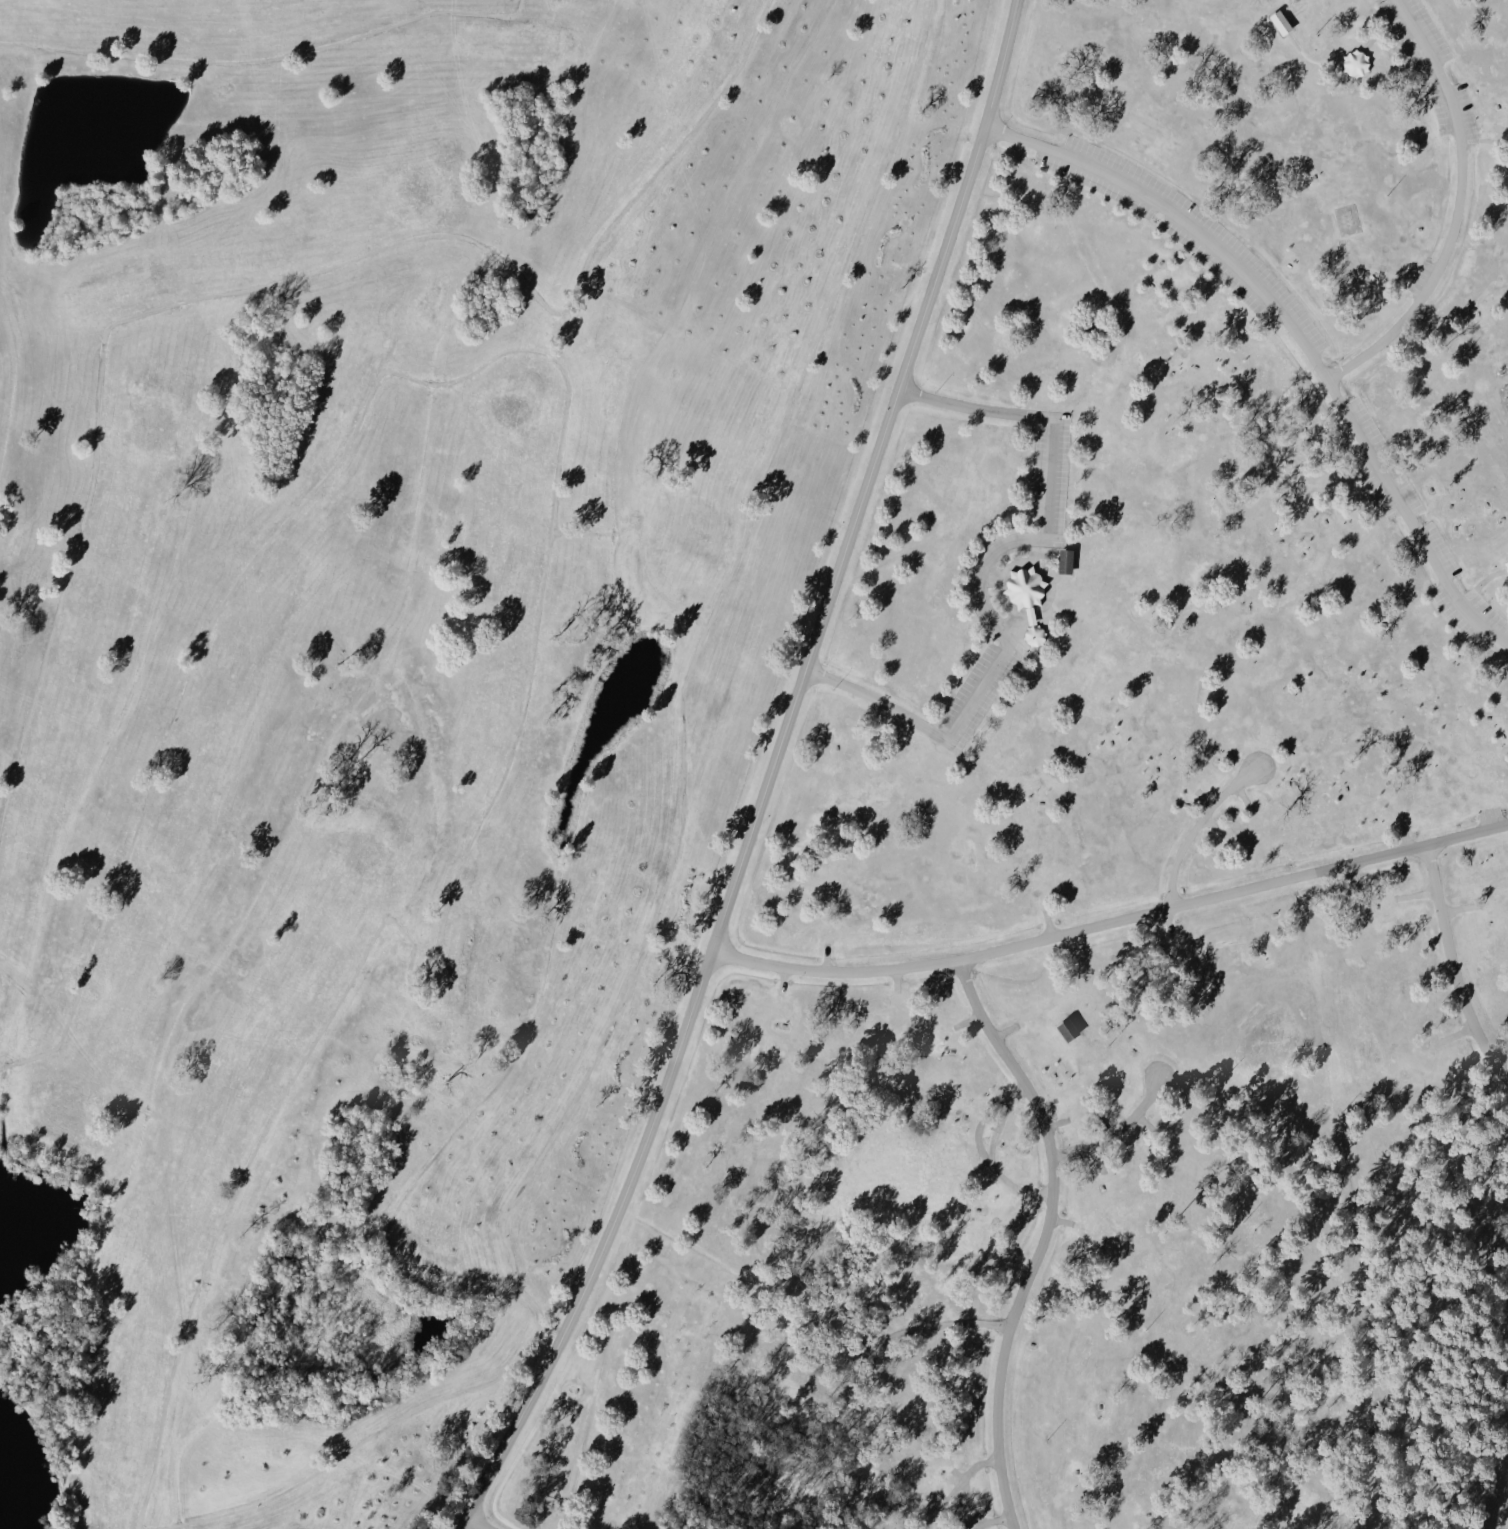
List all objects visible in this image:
road: (1295, 9)
parking lot: (1392, 17)
building: (1278, 24)
road: (1383, 28)
parking lot: (1399, 28)
road: (269, 60)
road: (1307, 60)
building: (1356, 62)
parking lot: (1432, 65)
parking lot: (1467, 131)
parking lot: (1468, 136)
road: (1486, 140)
park: (419, 189)
road: (1461, 208)
parking lot: (1184, 229)
parking lot: (1419, 275)
road: (283, 282)
road: (1297, 332)
road: (565, 377)
street lamp: (934, 391)
park: (510, 409)
park: (152, 426)
parking lot: (1048, 474)
street lamp: (1066, 522)
park: (697, 527)
parking lot: (1423, 535)
parking lot: (1055, 544)
road: (1018, 545)
road: (1033, 551)
building: (1507, 556)
building: (1063, 558)
road: (999, 559)
building: (1506, 565)
road: (981, 571)
road: (1054, 574)
road: (989, 575)
road: (1481, 580)
building: (1022, 587)
road: (988, 594)
parking lot: (1470, 600)
parking lot: (1476, 608)
road: (711, 614)
road: (1025, 614)
road: (995, 615)
building: (1028, 616)
road: (1028, 617)
road: (1008, 622)
building: (1032, 634)
parking lot: (1015, 654)
street lamp: (1016, 661)
park: (391, 673)
street lamp: (830, 689)
parking lot: (975, 690)
street lamp: (970, 737)
park: (754, 764)
road: (772, 777)
road: (1241, 795)
road: (1206, 800)
parking lot: (1490, 815)
road: (1212, 826)
road: (1196, 828)
road: (1403, 837)
park: (364, 852)
road: (1350, 875)
road: (1416, 895)
road: (1458, 908)
road: (1114, 919)
road: (1047, 923)
road: (1167, 927)
road: (369, 949)
road: (824, 957)
road: (1453, 966)
road: (893, 977)
road: (780, 980)
road: (968, 1018)
building: (1065, 1028)
road: (1005, 1029)
road: (1453, 1033)
road: (1501, 1055)
park: (64, 1113)
road: (1055, 1121)
road: (979, 1129)
road: (1119, 1129)
road: (1507, 1140)
road: (990, 1152)
road: (1096, 1158)
road: (531, 1175)
road: (1060, 1220)
park: (436, 1226)
road: (1044, 1236)
road: (936, 1323)
road: (1363, 1323)
building: (852, 1345)
road: (956, 1474)
road: (957, 1486)
road: (971, 1502)
road: (924, 1510)
road: (994, 1520)
road: (476, 1522)

